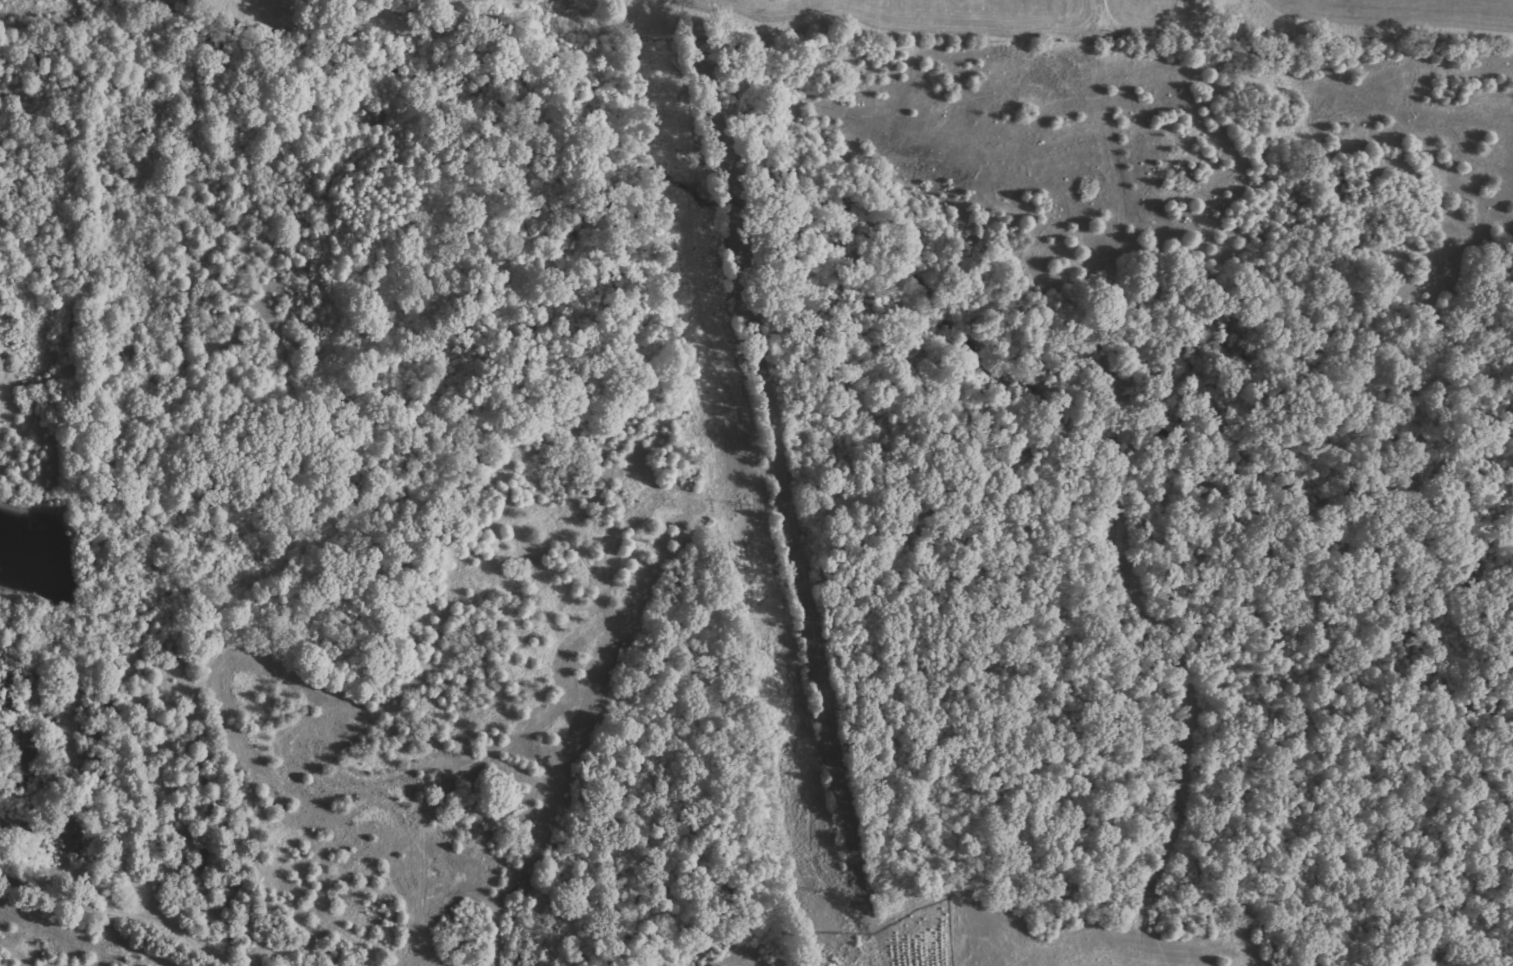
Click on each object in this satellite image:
road: (8, 380)
power tower: (735, 501)
power tower: (814, 889)
road: (96, 923)

